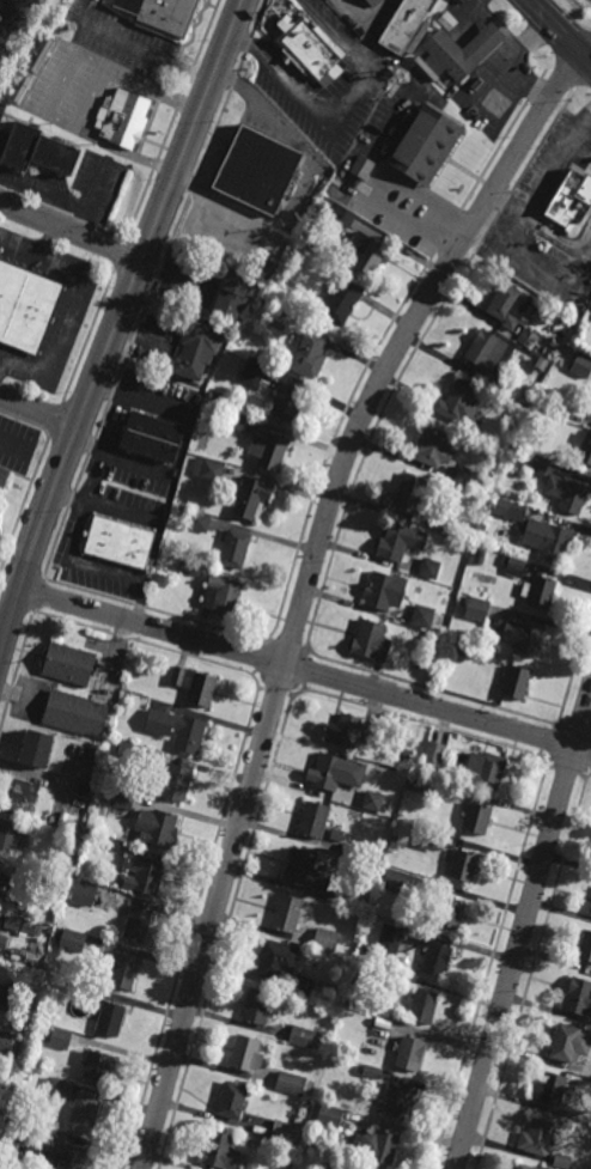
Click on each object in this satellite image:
building: (374, 2)
building: (158, 13)
road: (11, 18)
building: (446, 20)
building: (404, 25)
road: (560, 31)
building: (418, 37)
building: (311, 50)
building: (461, 51)
road: (159, 57)
road: (90, 103)
building: (123, 118)
building: (427, 146)
building: (36, 151)
building: (362, 168)
building: (258, 171)
road: (53, 194)
building: (569, 199)
road: (218, 201)
building: (347, 220)
road: (72, 231)
road: (50, 242)
road: (20, 248)
building: (368, 254)
building: (234, 297)
building: (342, 303)
building: (510, 306)
building: (26, 308)
road: (117, 324)
road: (62, 325)
building: (528, 339)
building: (196, 352)
building: (310, 355)
building: (493, 359)
building: (584, 363)
road: (1, 365)
building: (252, 373)
building: (214, 396)
building: (288, 402)
building: (459, 403)
building: (559, 412)
road: (38, 413)
building: (238, 422)
building: (152, 438)
building: (498, 443)
road: (14, 444)
road: (181, 447)
building: (433, 447)
building: (584, 447)
building: (268, 450)
building: (537, 464)
building: (514, 467)
building: (207, 469)
building: (4, 476)
building: (465, 476)
building: (481, 481)
building: (412, 493)
building: (567, 493)
building: (250, 497)
building: (501, 506)
building: (199, 522)
building: (445, 522)
building: (459, 525)
building: (467, 532)
building: (548, 538)
building: (120, 541)
building: (396, 541)
building: (234, 548)
building: (479, 556)
building: (185, 567)
building: (429, 567)
building: (514, 567)
road: (306, 586)
building: (541, 590)
building: (384, 591)
building: (221, 595)
building: (477, 608)
building: (424, 616)
building: (519, 635)
building: (371, 640)
road: (0, 646)
building: (463, 652)
building: (69, 663)
road: (304, 670)
building: (120, 674)
building: (517, 682)
building: (195, 686)
building: (123, 710)
building: (74, 713)
building: (177, 730)
building: (343, 731)
building: (37, 748)
building: (127, 749)
building: (435, 751)
building: (156, 756)
building: (486, 769)
building: (328, 771)
building: (177, 783)
building: (414, 783)
building: (453, 790)
building: (362, 798)
building: (24, 799)
building: (123, 800)
building: (427, 804)
building: (92, 817)
building: (477, 818)
building: (315, 820)
building: (60, 822)
building: (157, 828)
building: (48, 833)
building: (12, 836)
building: (395, 839)
building: (429, 839)
building: (112, 845)
building: (349, 850)
building: (342, 861)
building: (463, 864)
building: (305, 871)
building: (144, 873)
building: (2, 878)
building: (402, 882)
building: (85, 894)
building: (335, 897)
building: (24, 909)
building: (590, 911)
building: (288, 914)
building: (450, 914)
building: (347, 918)
building: (10, 921)
building: (138, 925)
road: (523, 928)
building: (324, 939)
building: (390, 939)
building: (73, 940)
building: (2, 942)
building: (585, 946)
building: (440, 958)
building: (275, 960)
building: (124, 970)
building: (400, 978)
building: (32, 982)
building: (303, 985)
building: (77, 988)
building: (12, 997)
building: (578, 997)
building: (257, 1007)
building: (425, 1007)
building: (109, 1019)
building: (379, 1034)
building: (303, 1037)
building: (61, 1039)
building: (6, 1043)
building: (566, 1046)
building: (408, 1053)
building: (245, 1054)
building: (339, 1064)
building: (96, 1068)
building: (370, 1072)
building: (291, 1084)
building: (56, 1088)
building: (556, 1092)
building: (397, 1101)
building: (232, 1102)
building: (85, 1115)
building: (330, 1118)
building: (581, 1120)
building: (7, 1125)
building: (286, 1132)
building: (30, 1133)
building: (537, 1138)
building: (380, 1151)
building: (220, 1152)
building: (65, 1157)
building: (561, 1162)
building: (329, 1167)
building: (525, 1167)

